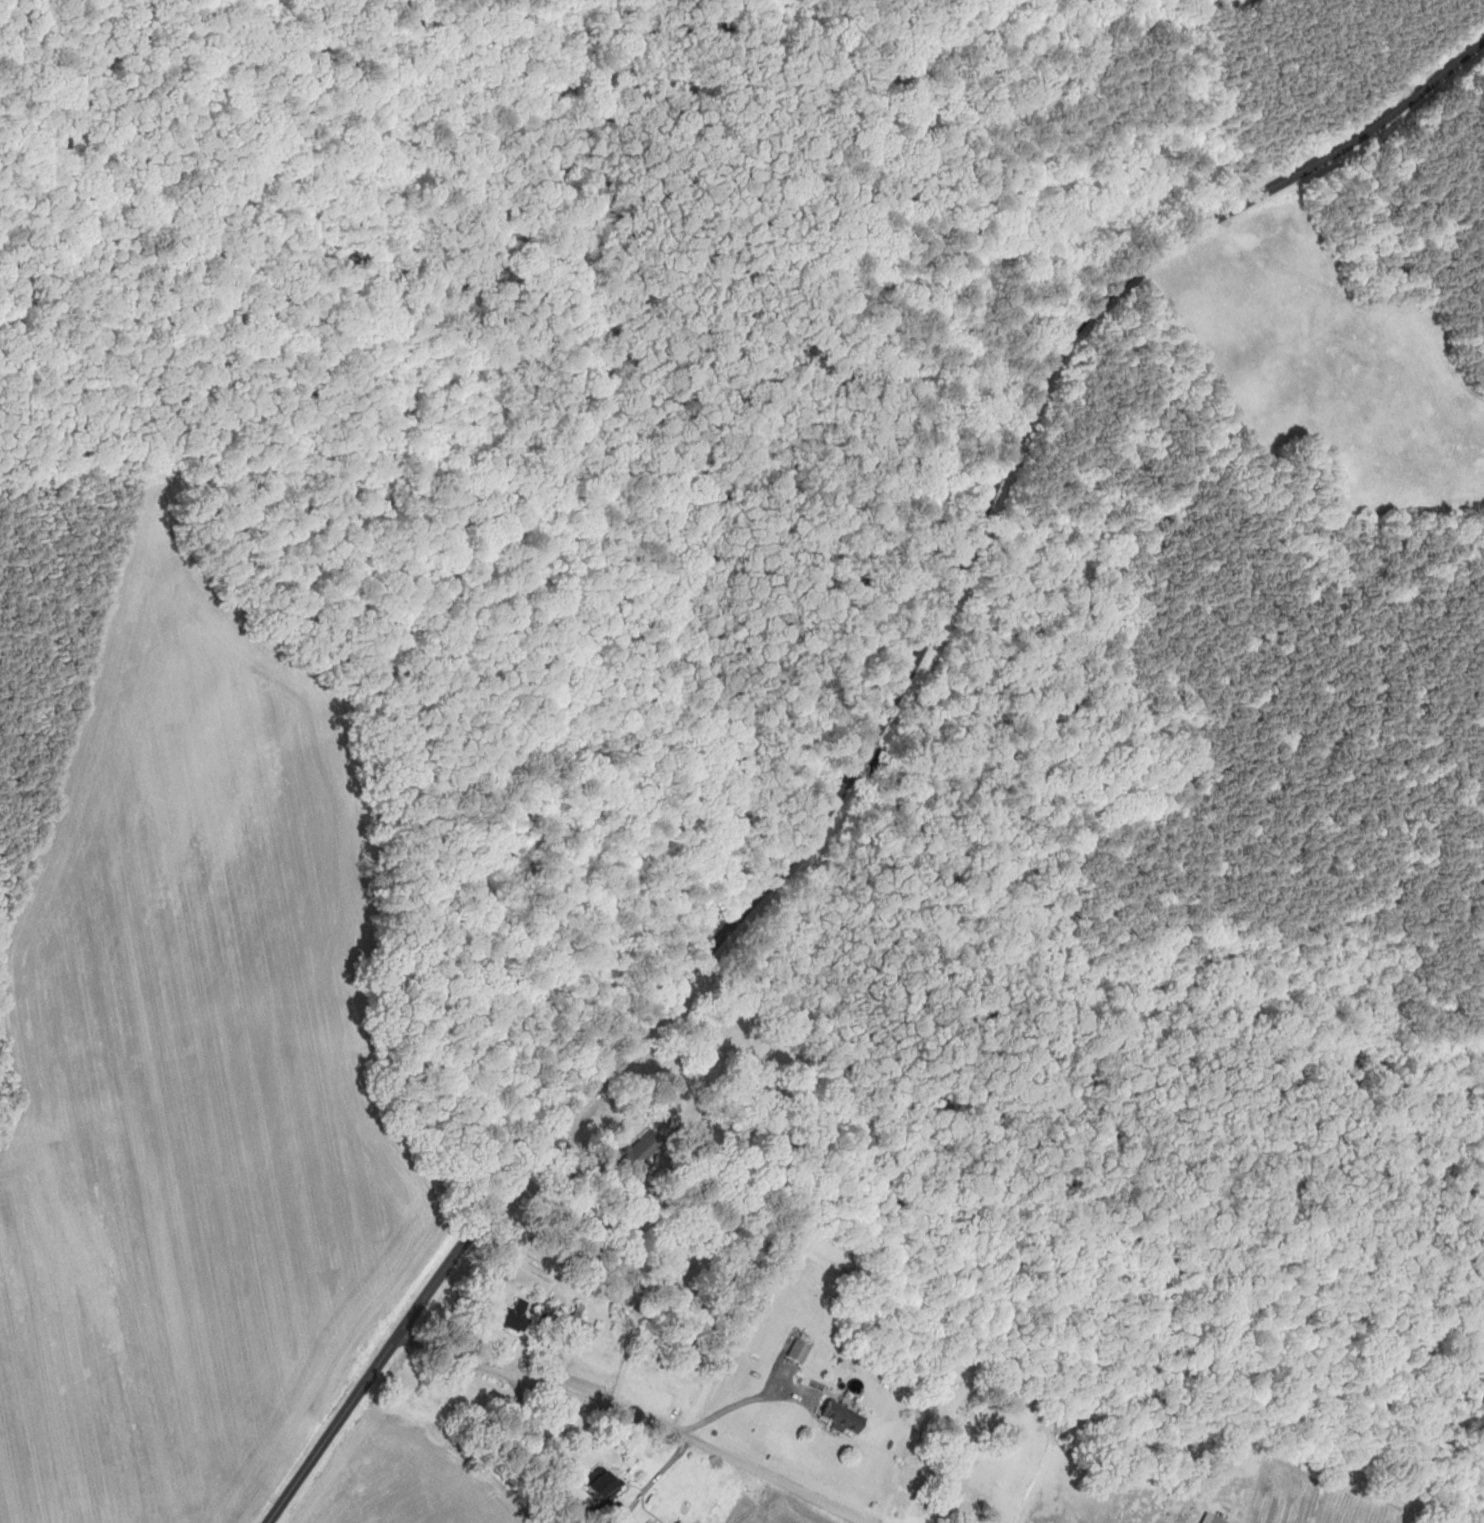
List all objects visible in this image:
park: (601, 321)
road: (866, 753)
building: (642, 1148)
building: (517, 1315)
building: (800, 1351)
road: (636, 1418)
building: (844, 1418)
building: (602, 1482)

